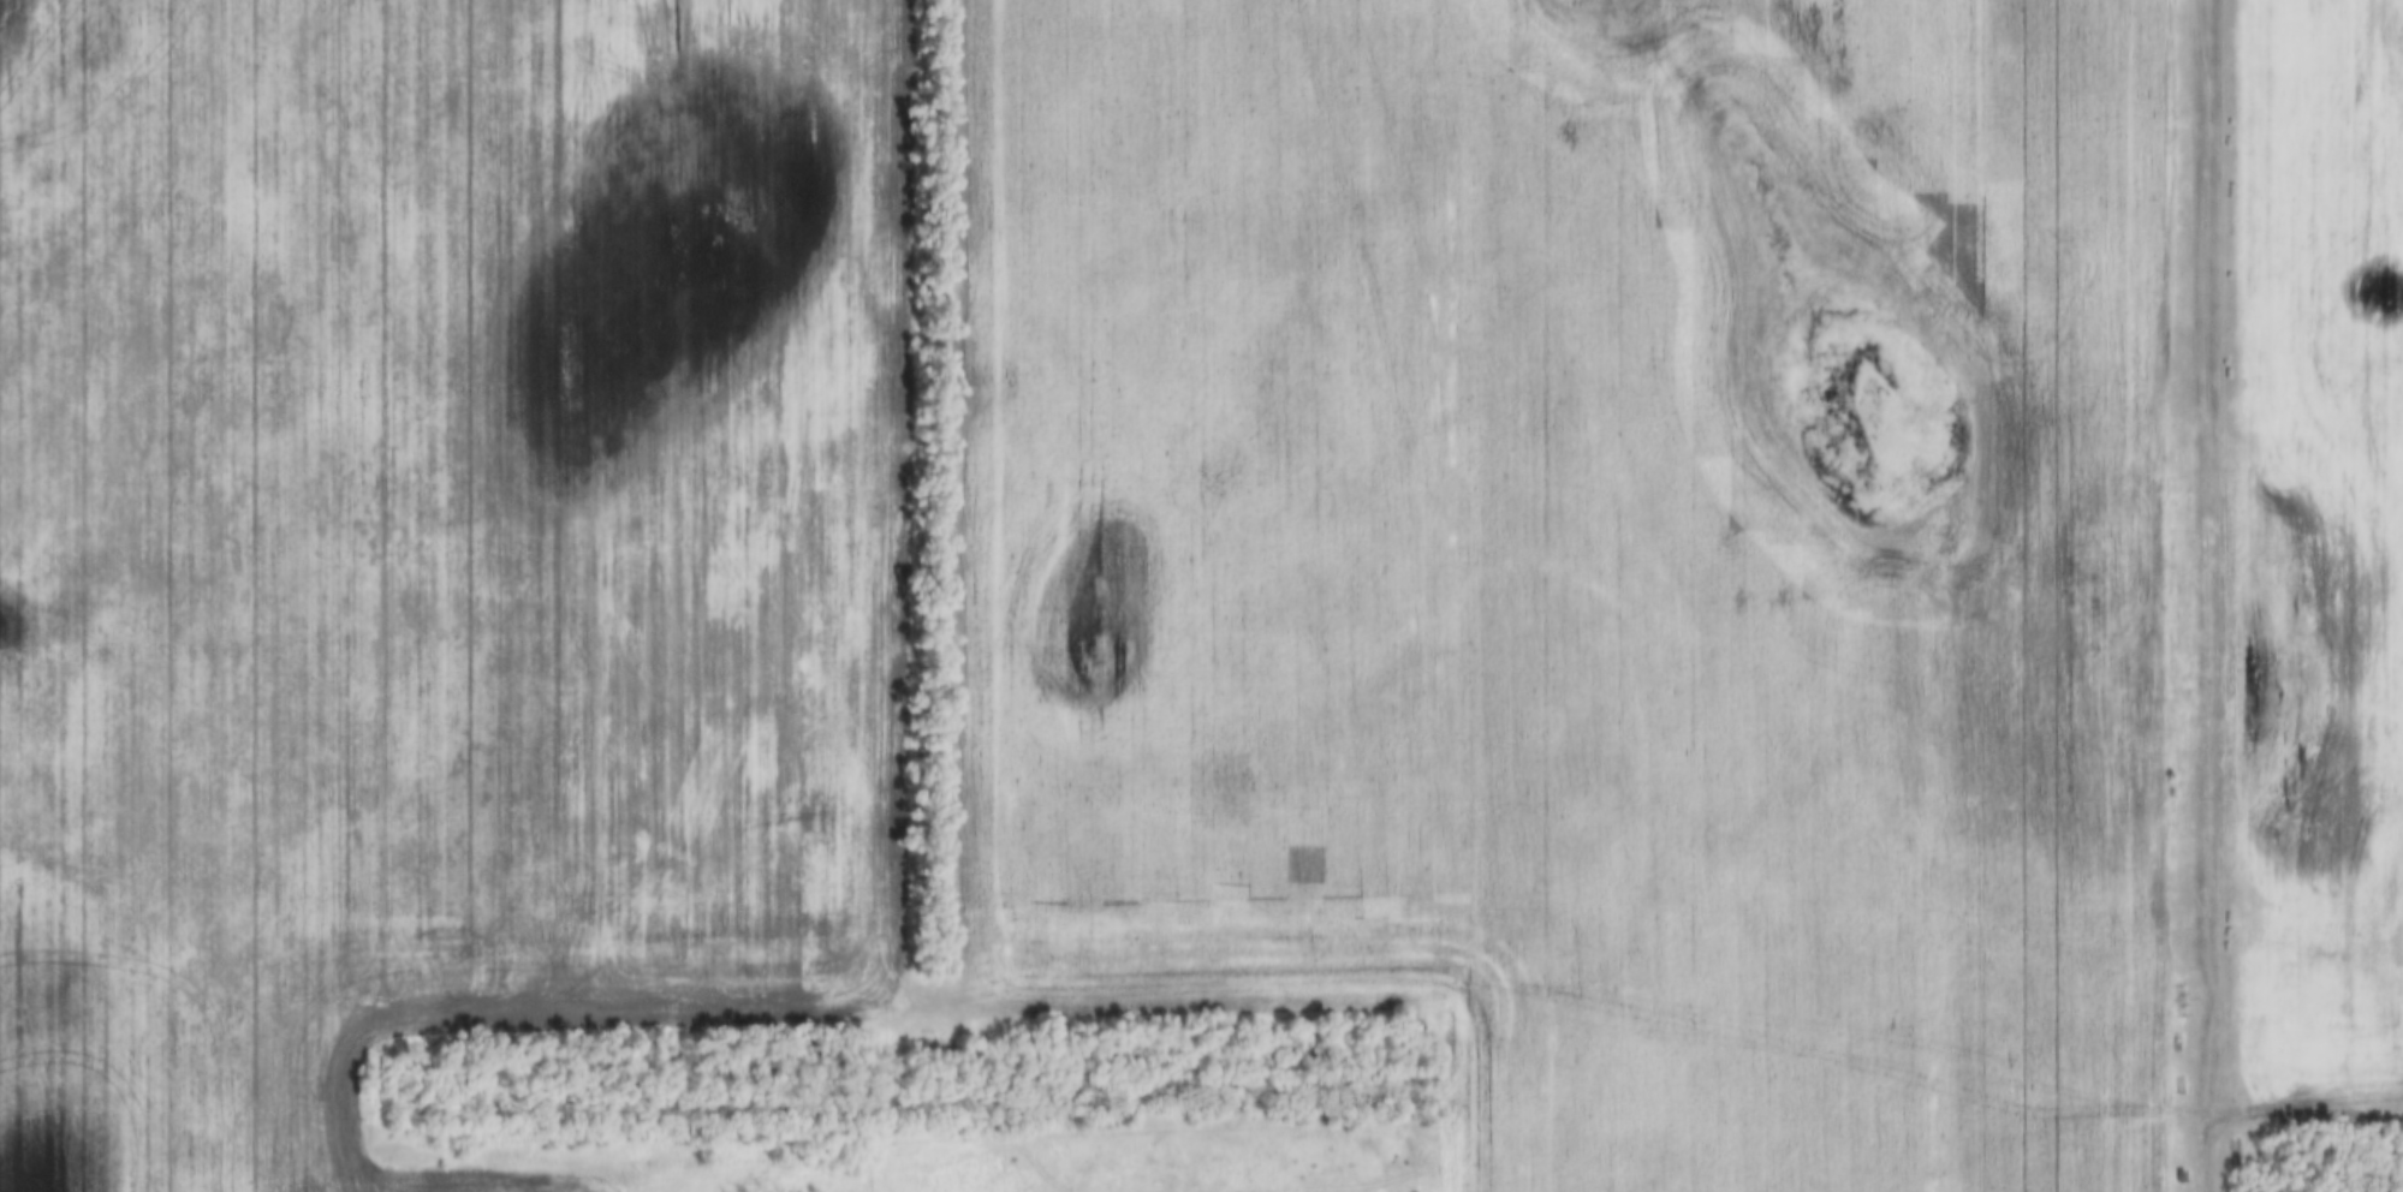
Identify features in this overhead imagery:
road: (2208, 595)

